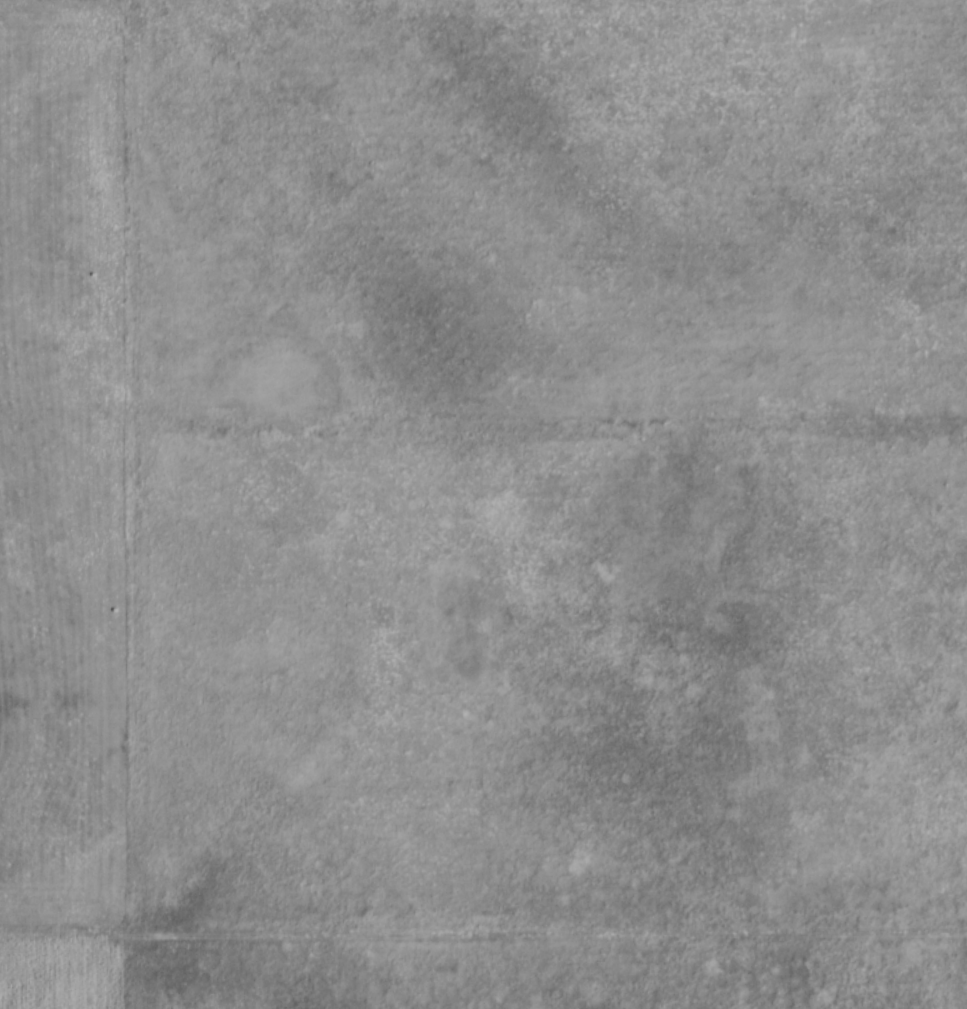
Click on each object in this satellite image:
road: (483, 932)

